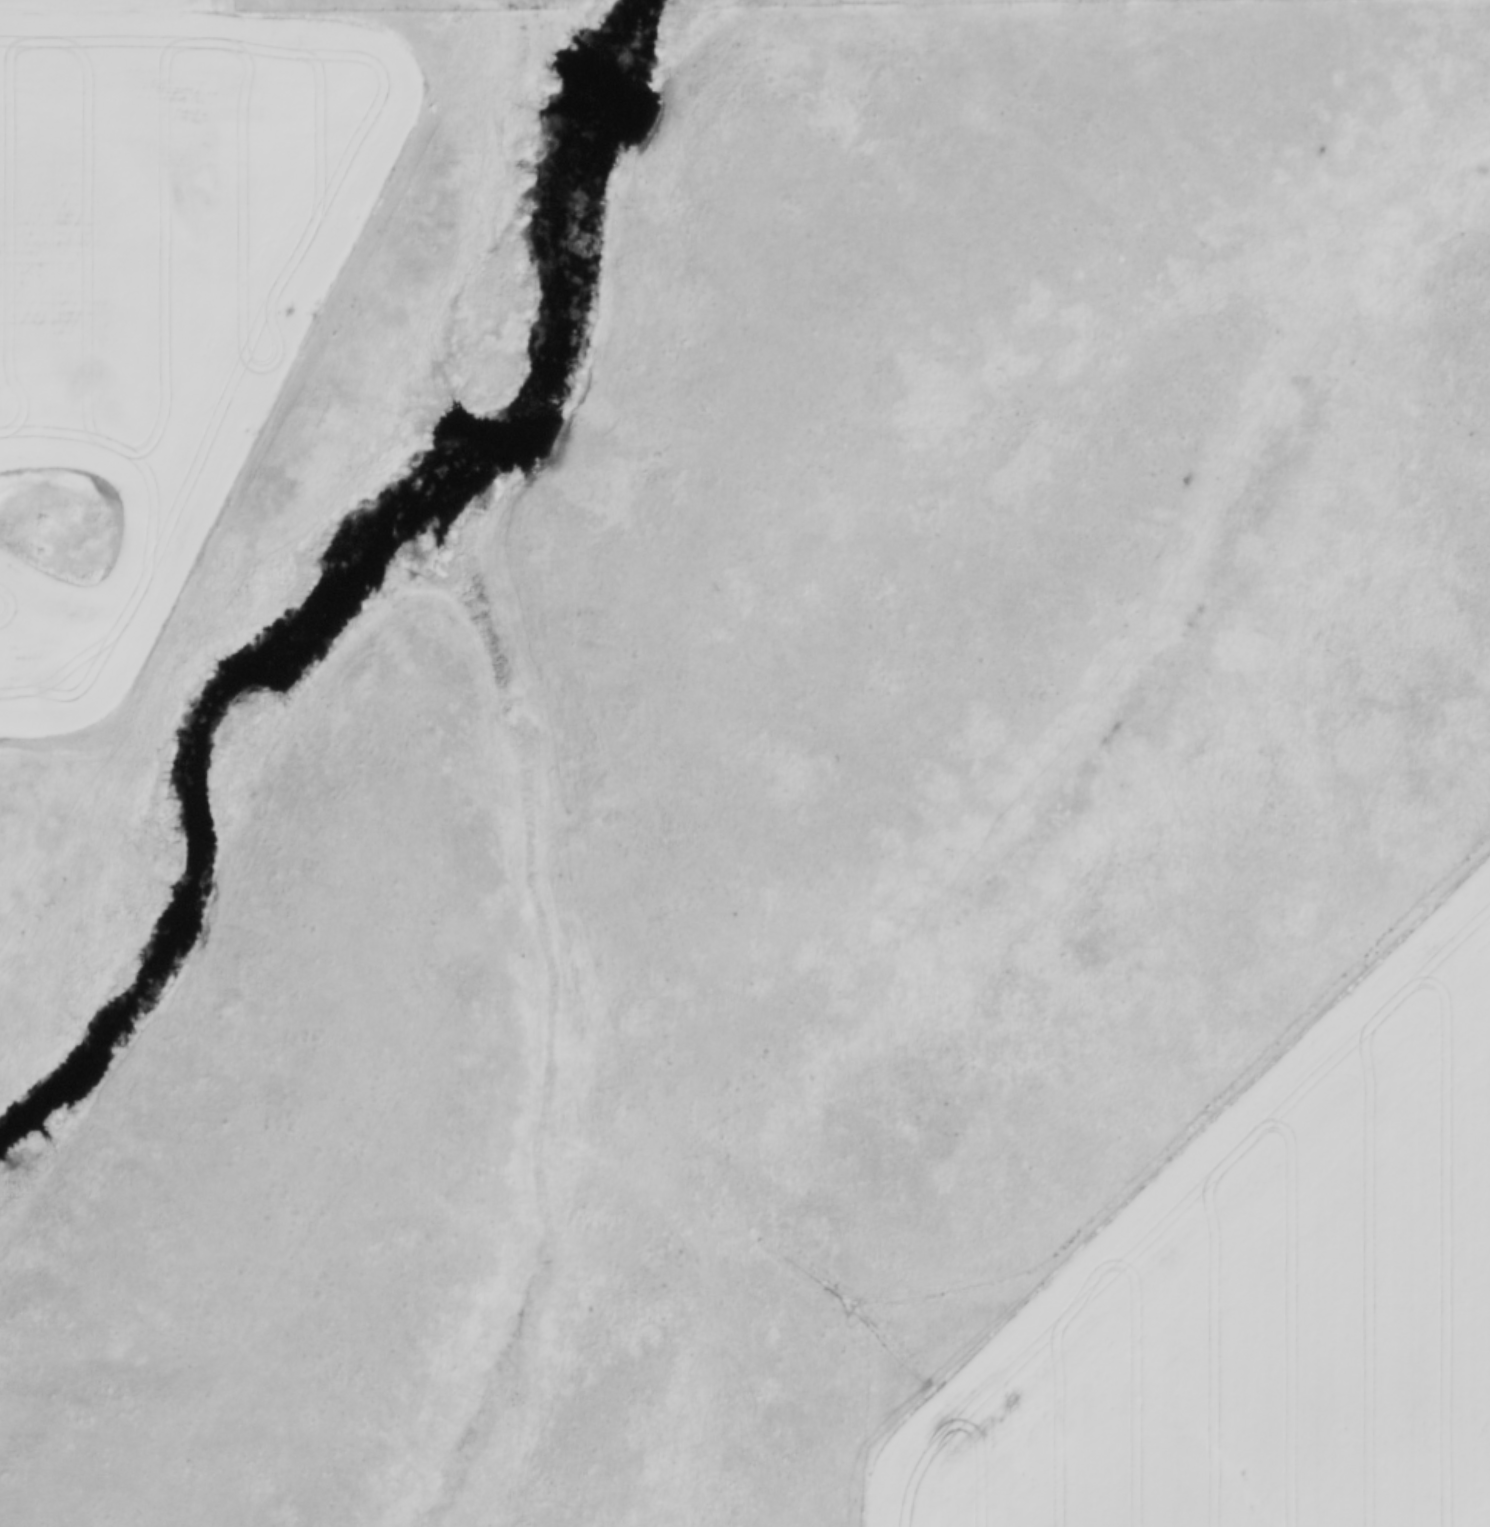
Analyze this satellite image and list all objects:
road: (222, 21)

